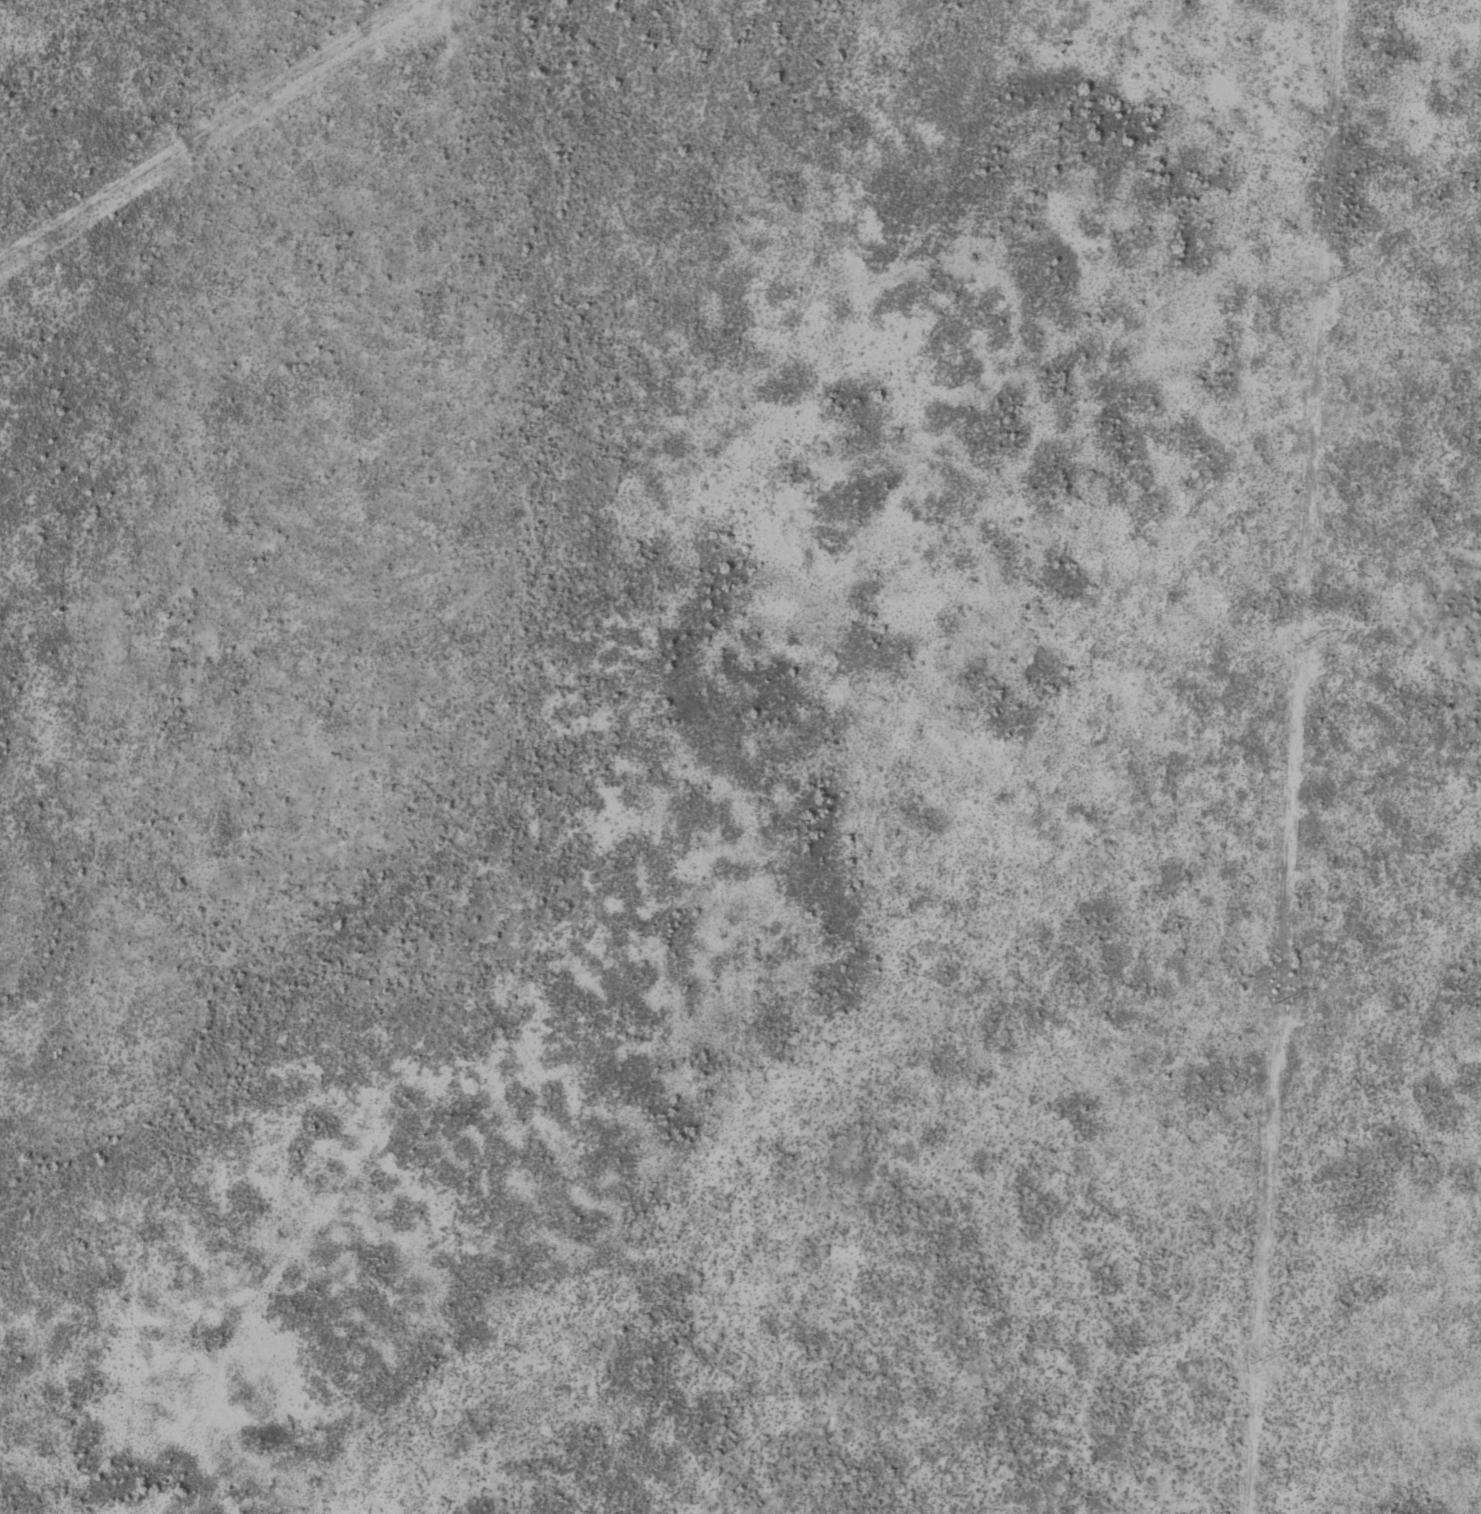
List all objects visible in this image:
power tower: (1321, 287)
power tower: (1299, 647)
power tower: (1277, 1006)
power tower: (1255, 1364)

